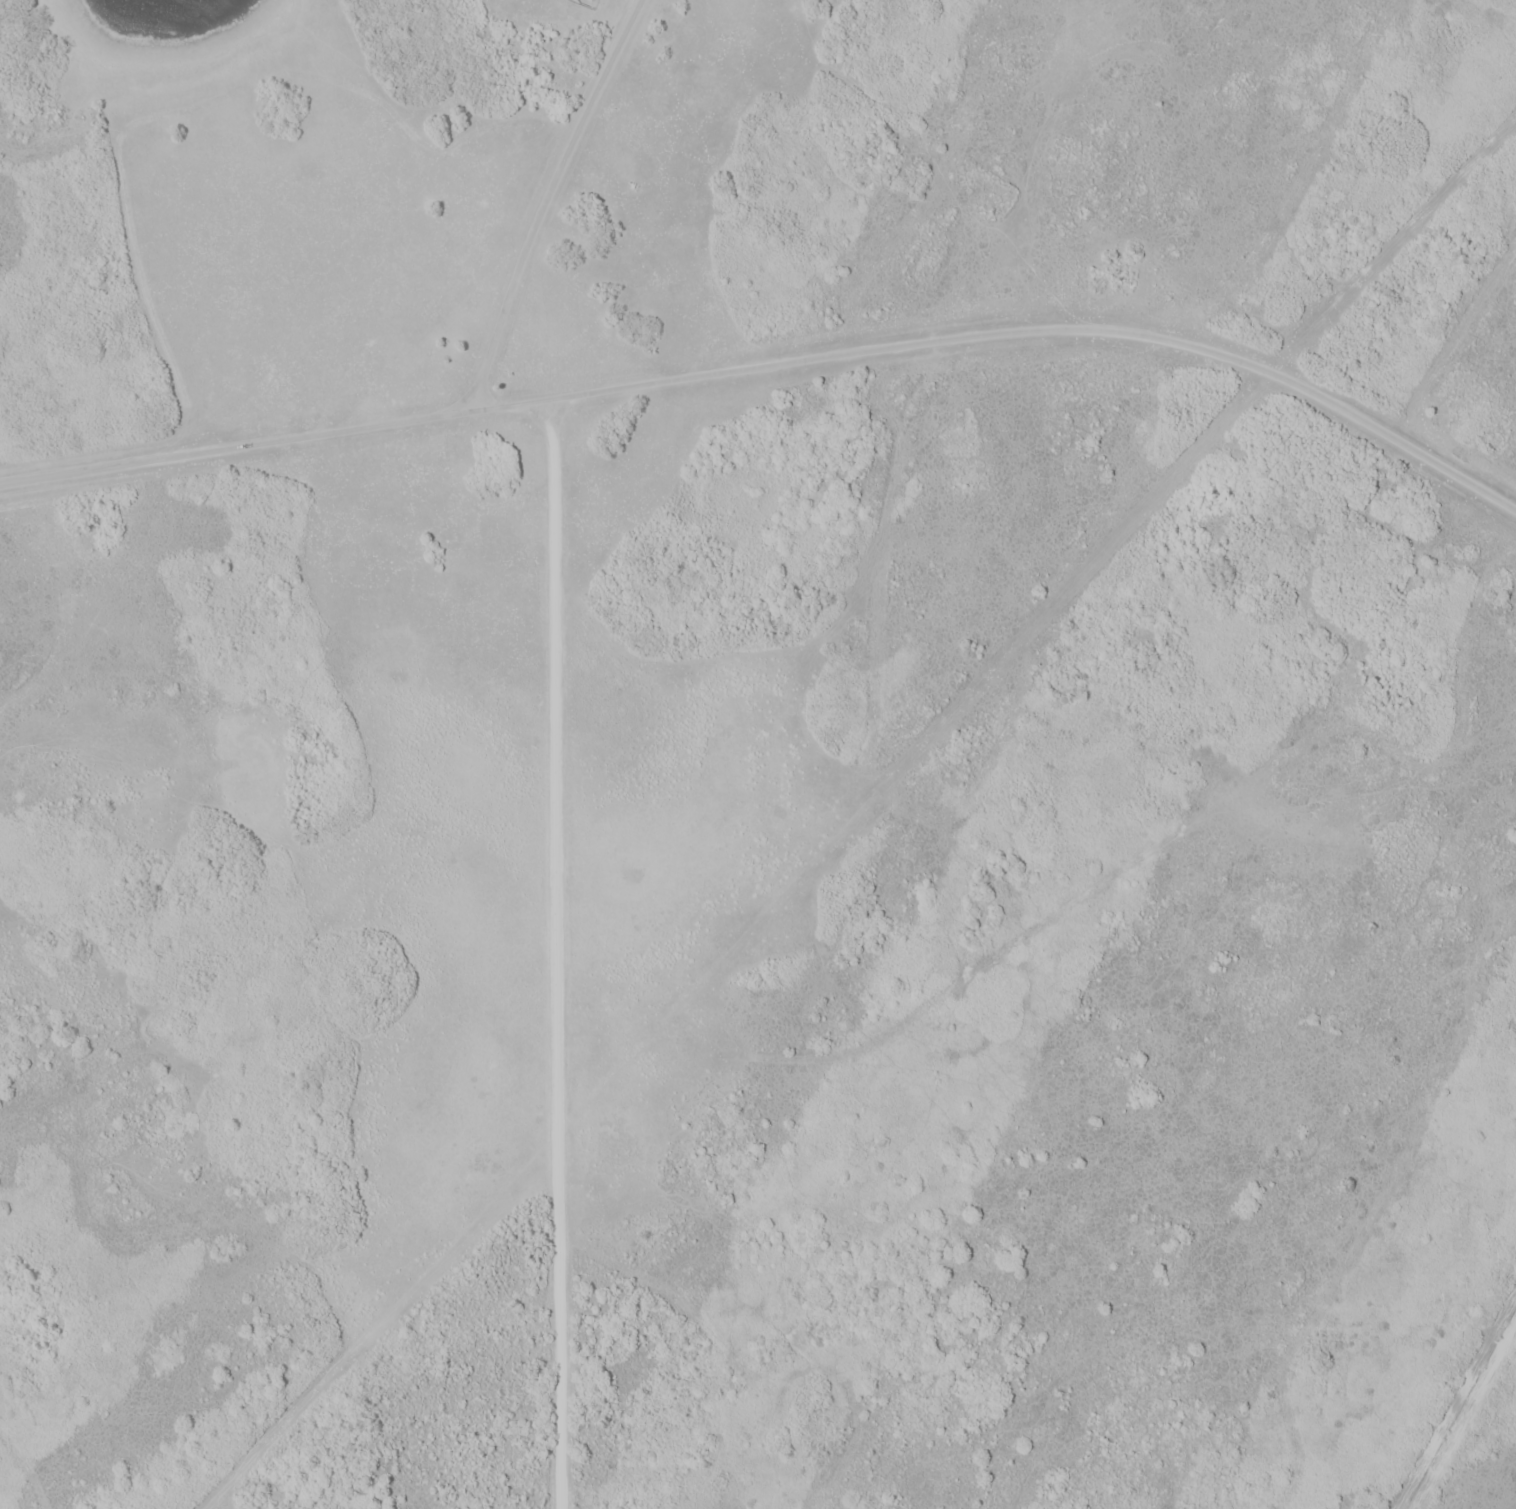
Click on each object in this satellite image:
road: (547, 201)
road: (770, 371)
road: (555, 955)

